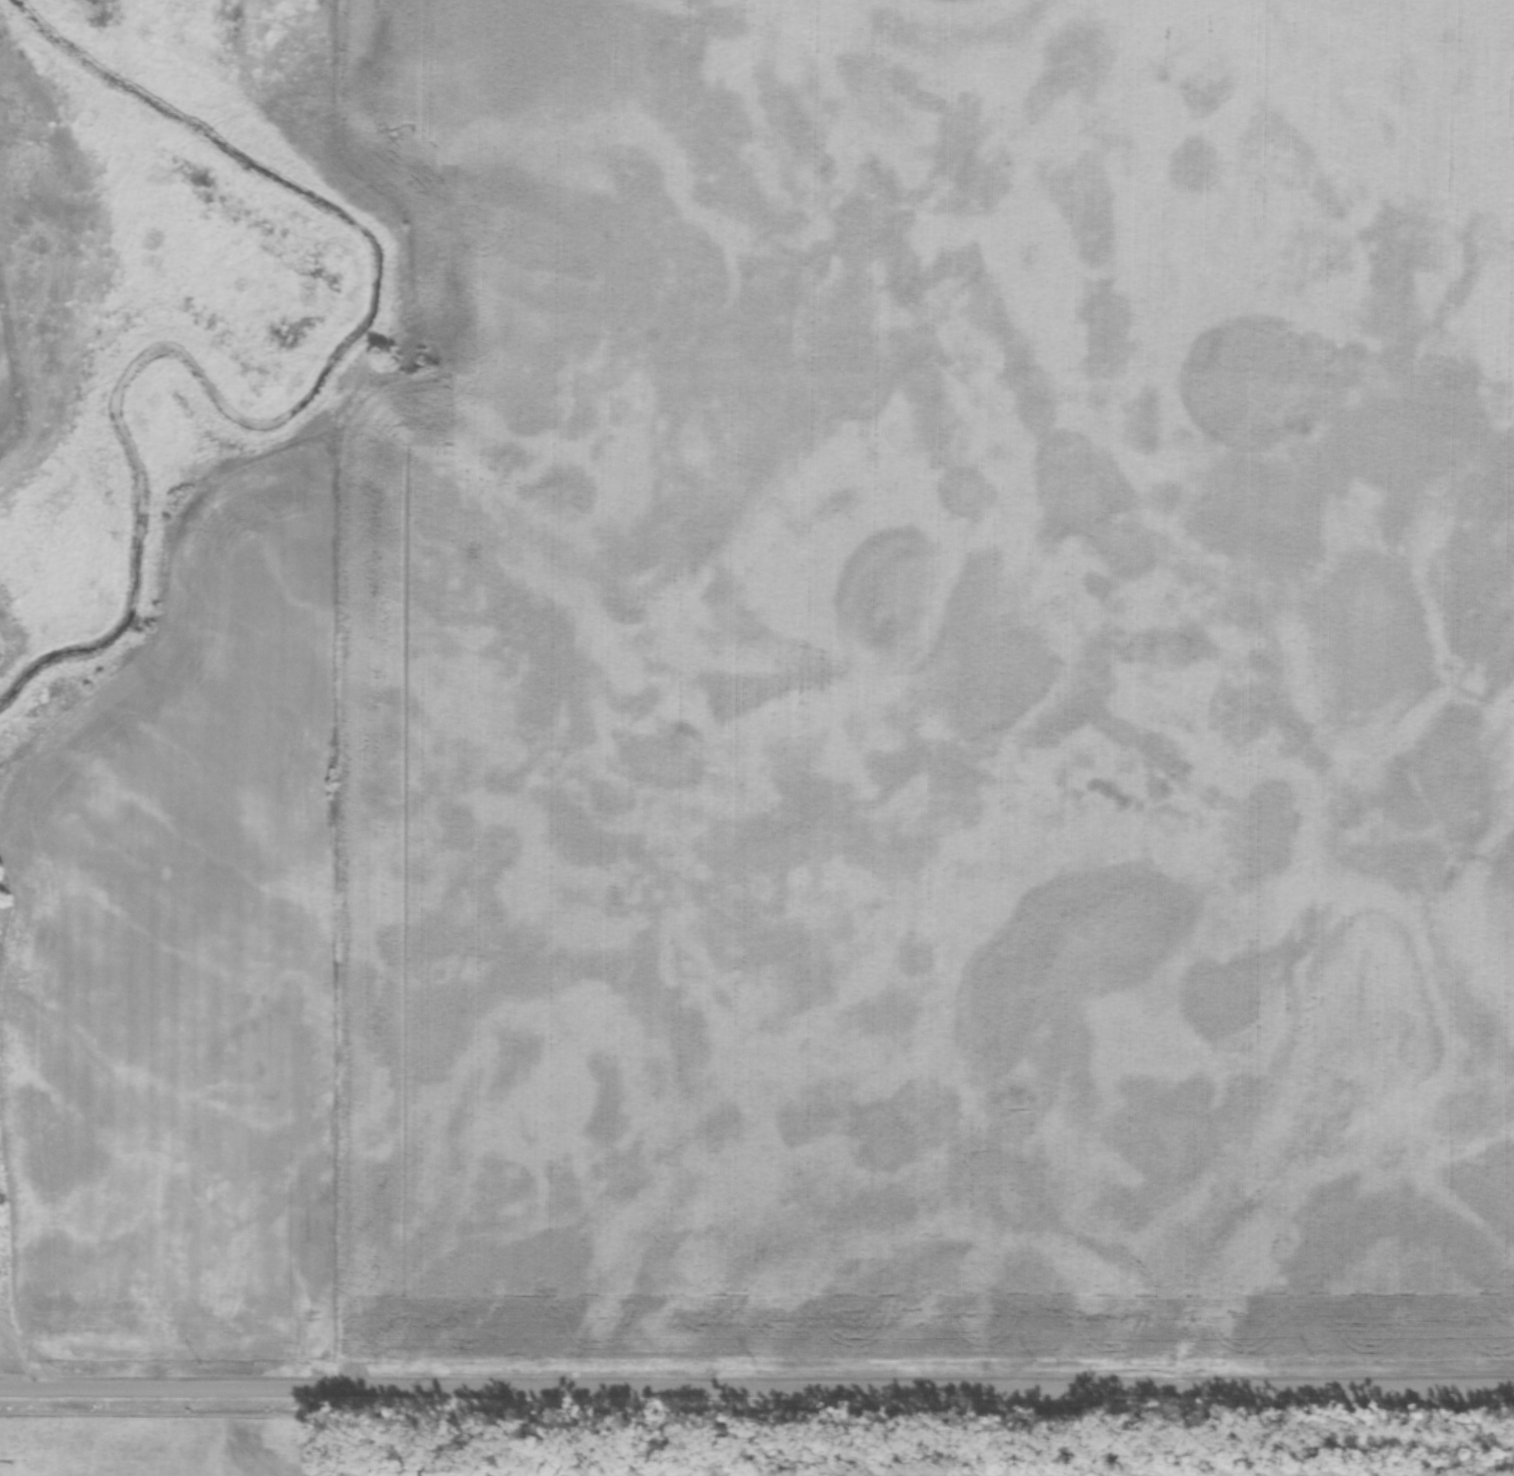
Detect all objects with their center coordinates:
road: (757, 1393)

